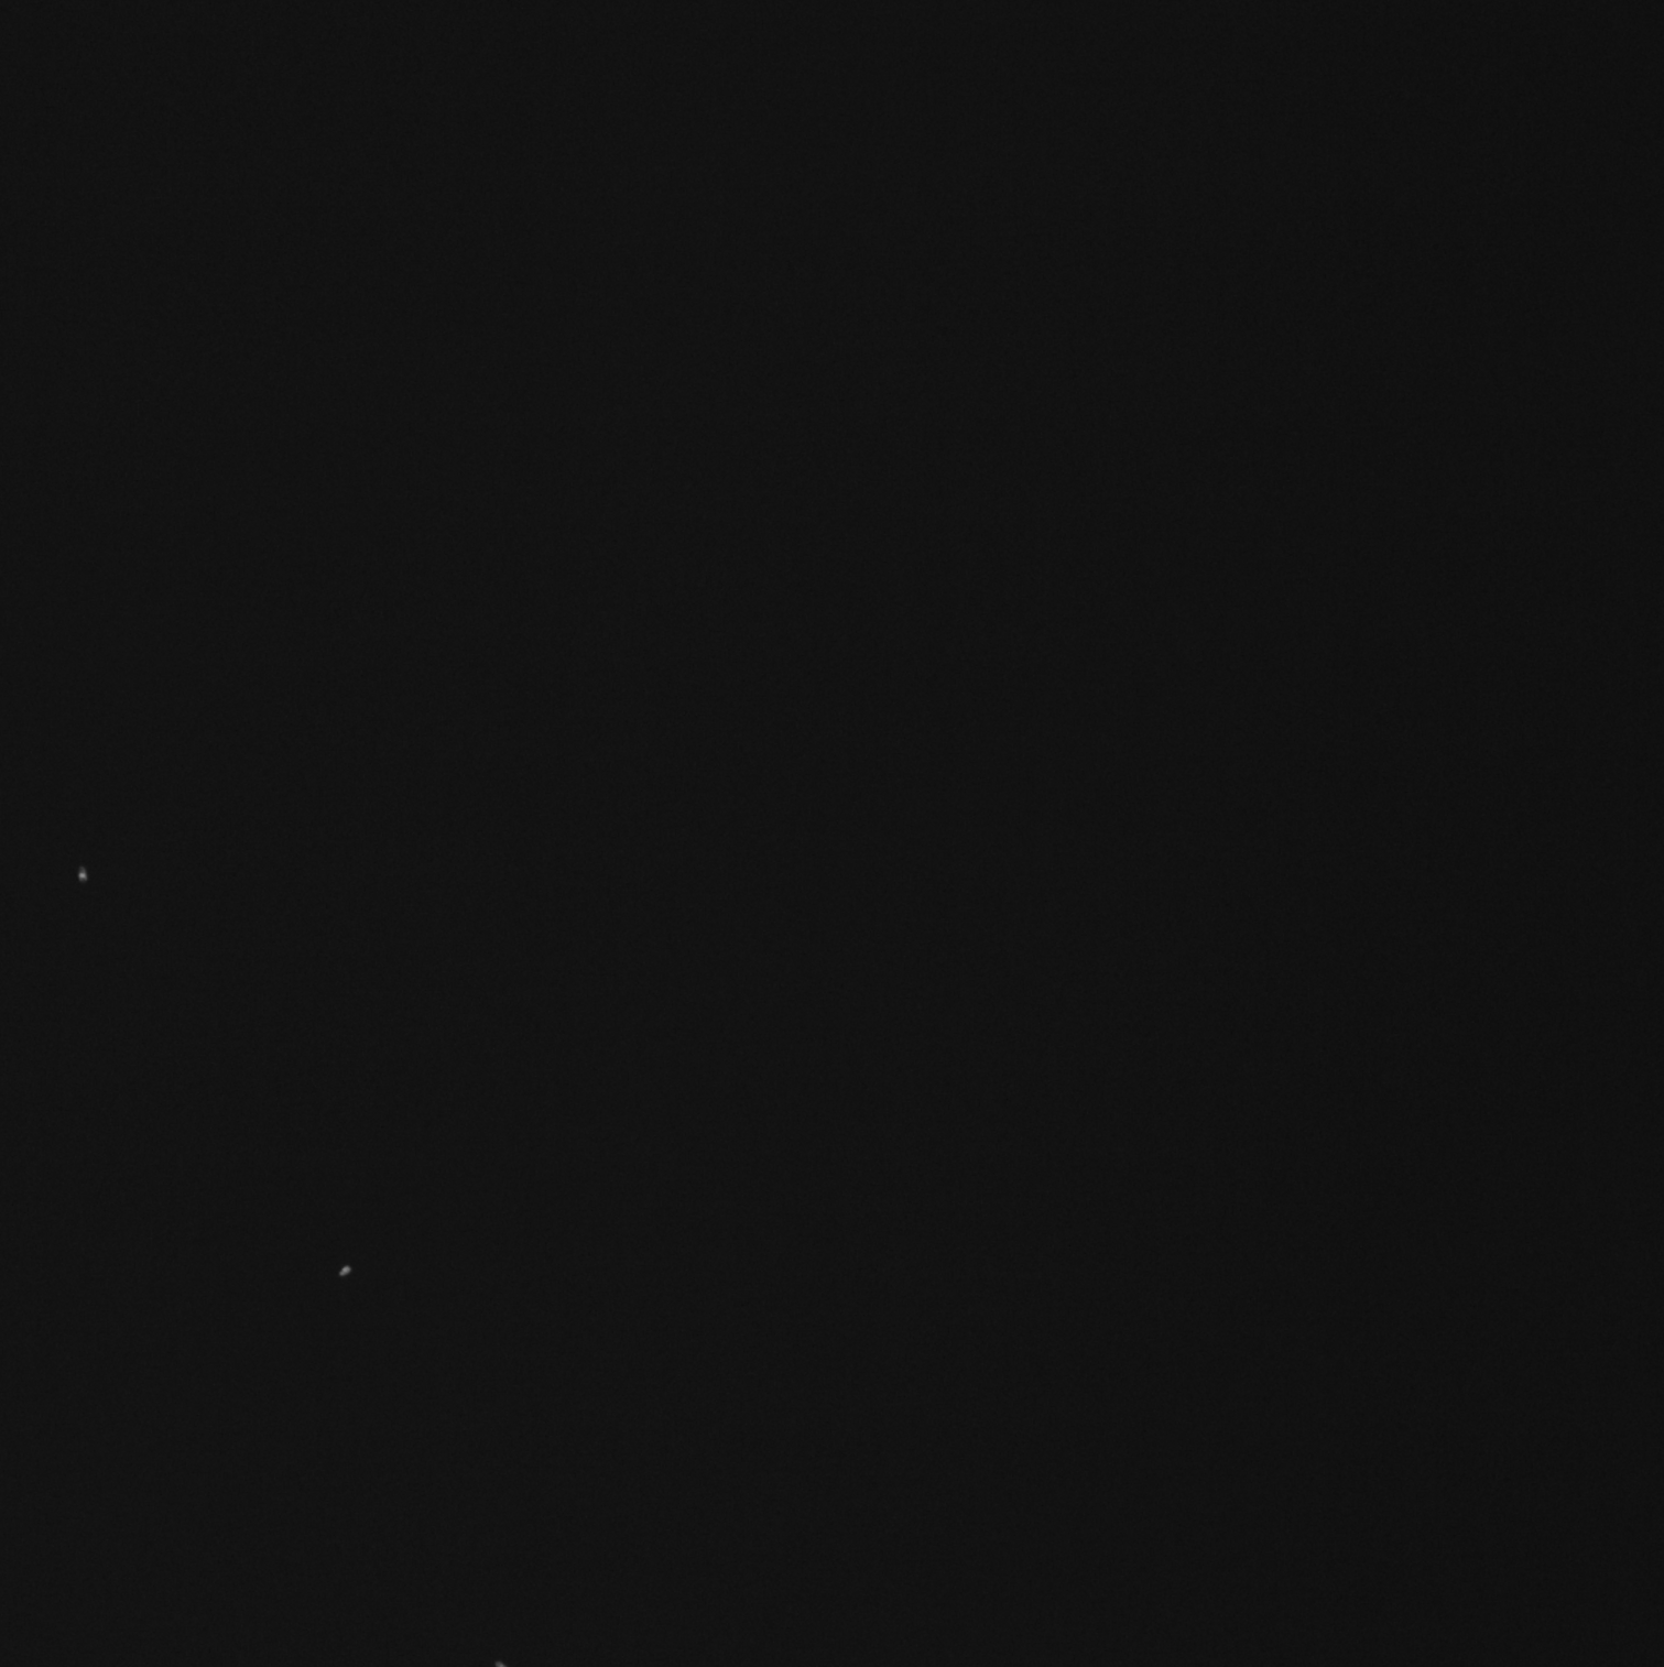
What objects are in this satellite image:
river: (1628, 225)

